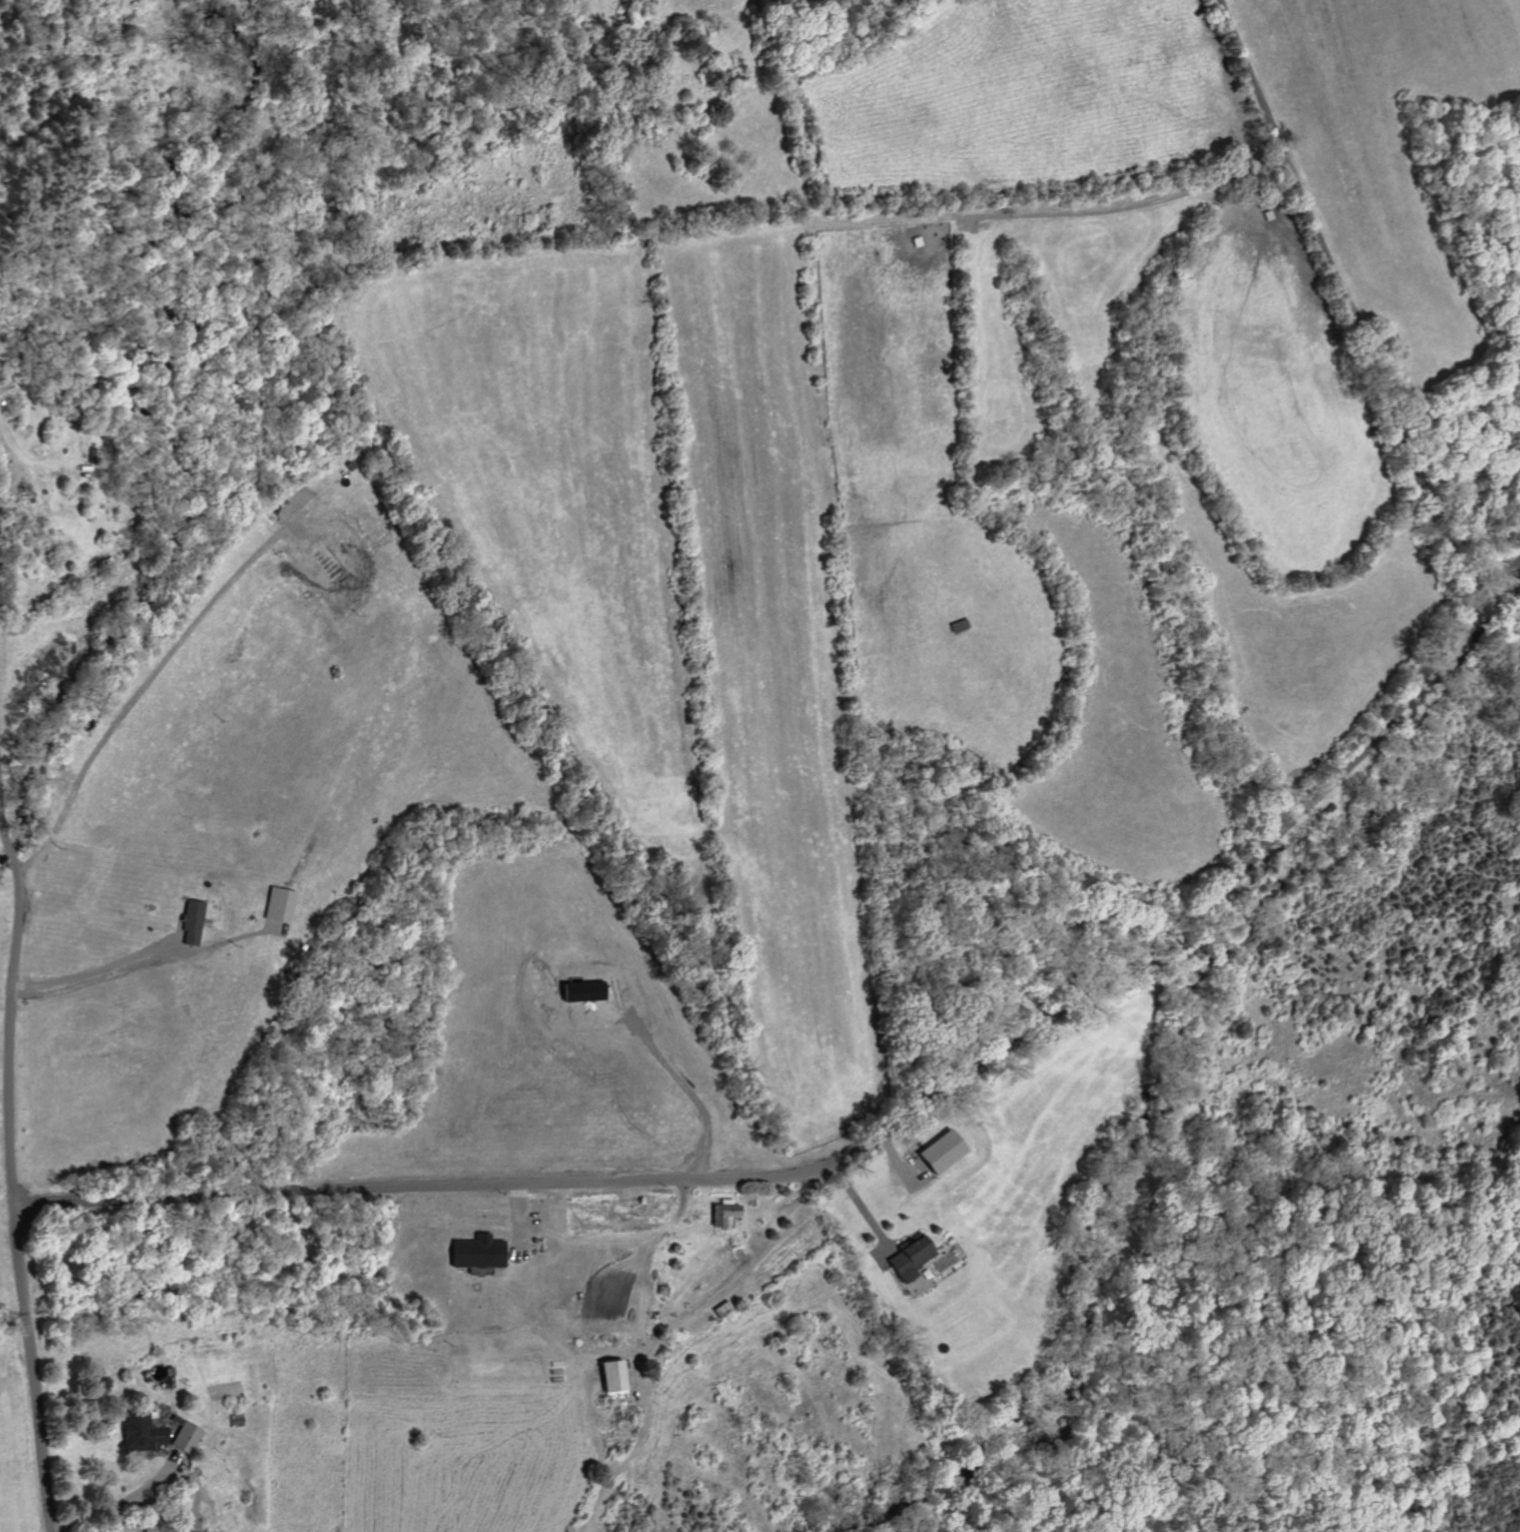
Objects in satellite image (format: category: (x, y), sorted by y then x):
road: (1343, 303)
building: (323, 561)
road: (136, 695)
building: (276, 905)
building: (189, 922)
road: (93, 969)
road: (875, 1136)
building: (938, 1150)
road: (11, 1179)
building: (723, 1212)
building: (474, 1251)
building: (908, 1256)
building: (609, 1374)
building: (234, 1420)
building: (140, 1433)
building: (186, 1438)
road: (112, 1506)
building: (152, 1529)

